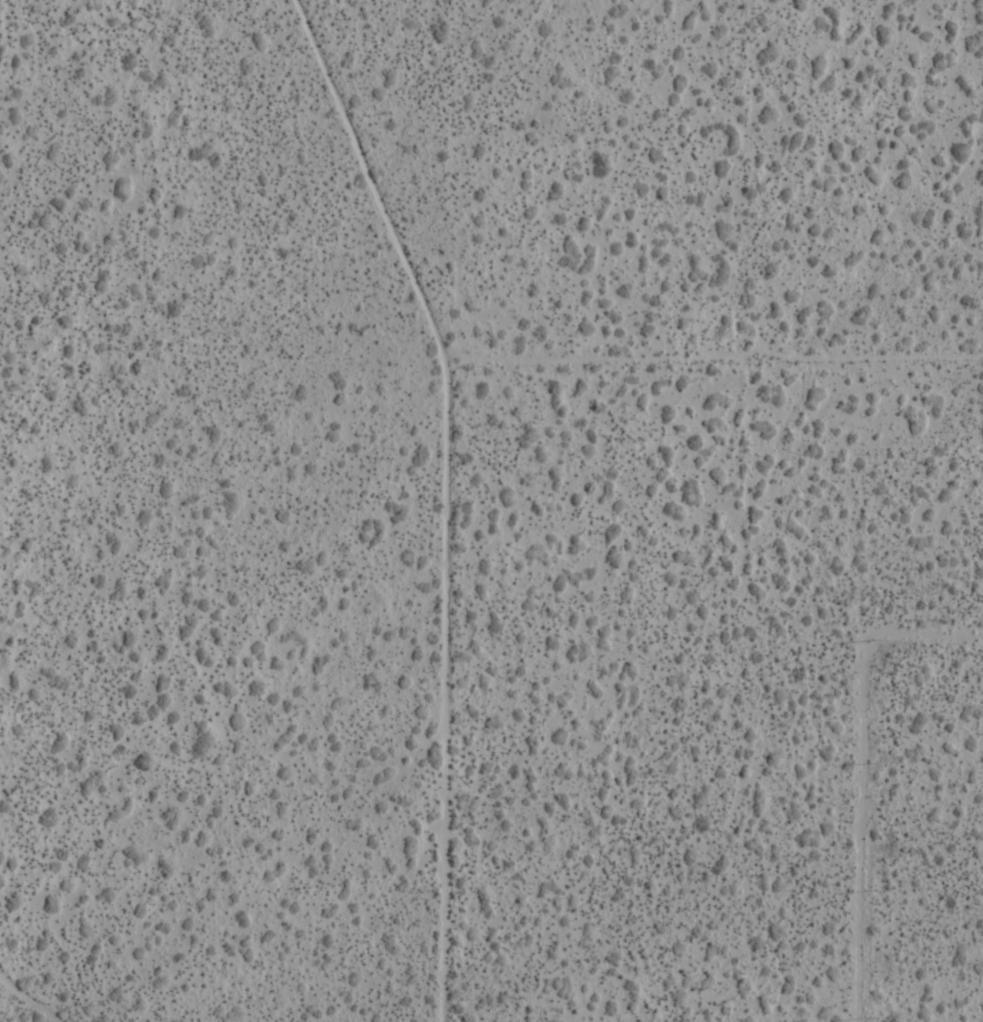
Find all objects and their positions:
road: (925, 631)

